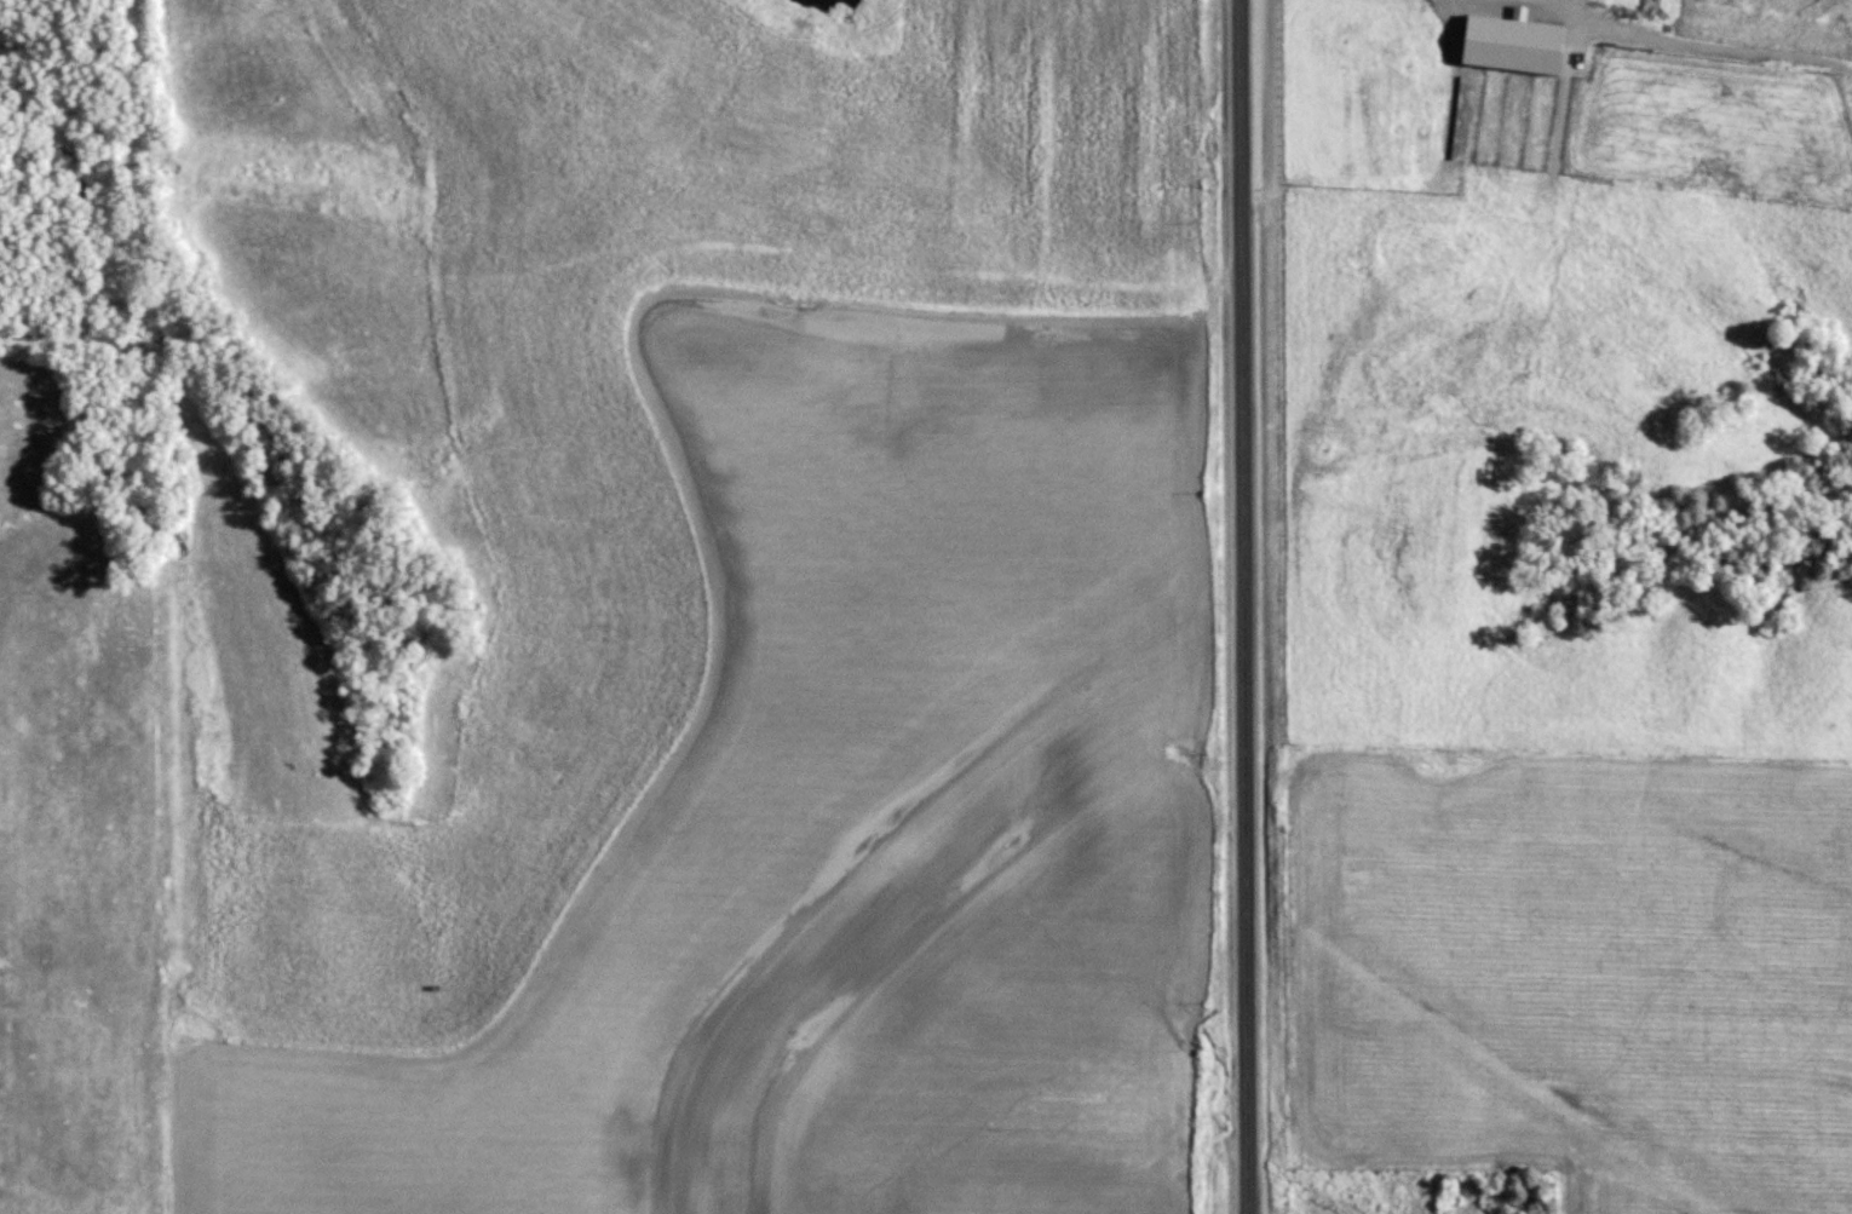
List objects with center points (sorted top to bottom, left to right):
road: (1247, 606)

